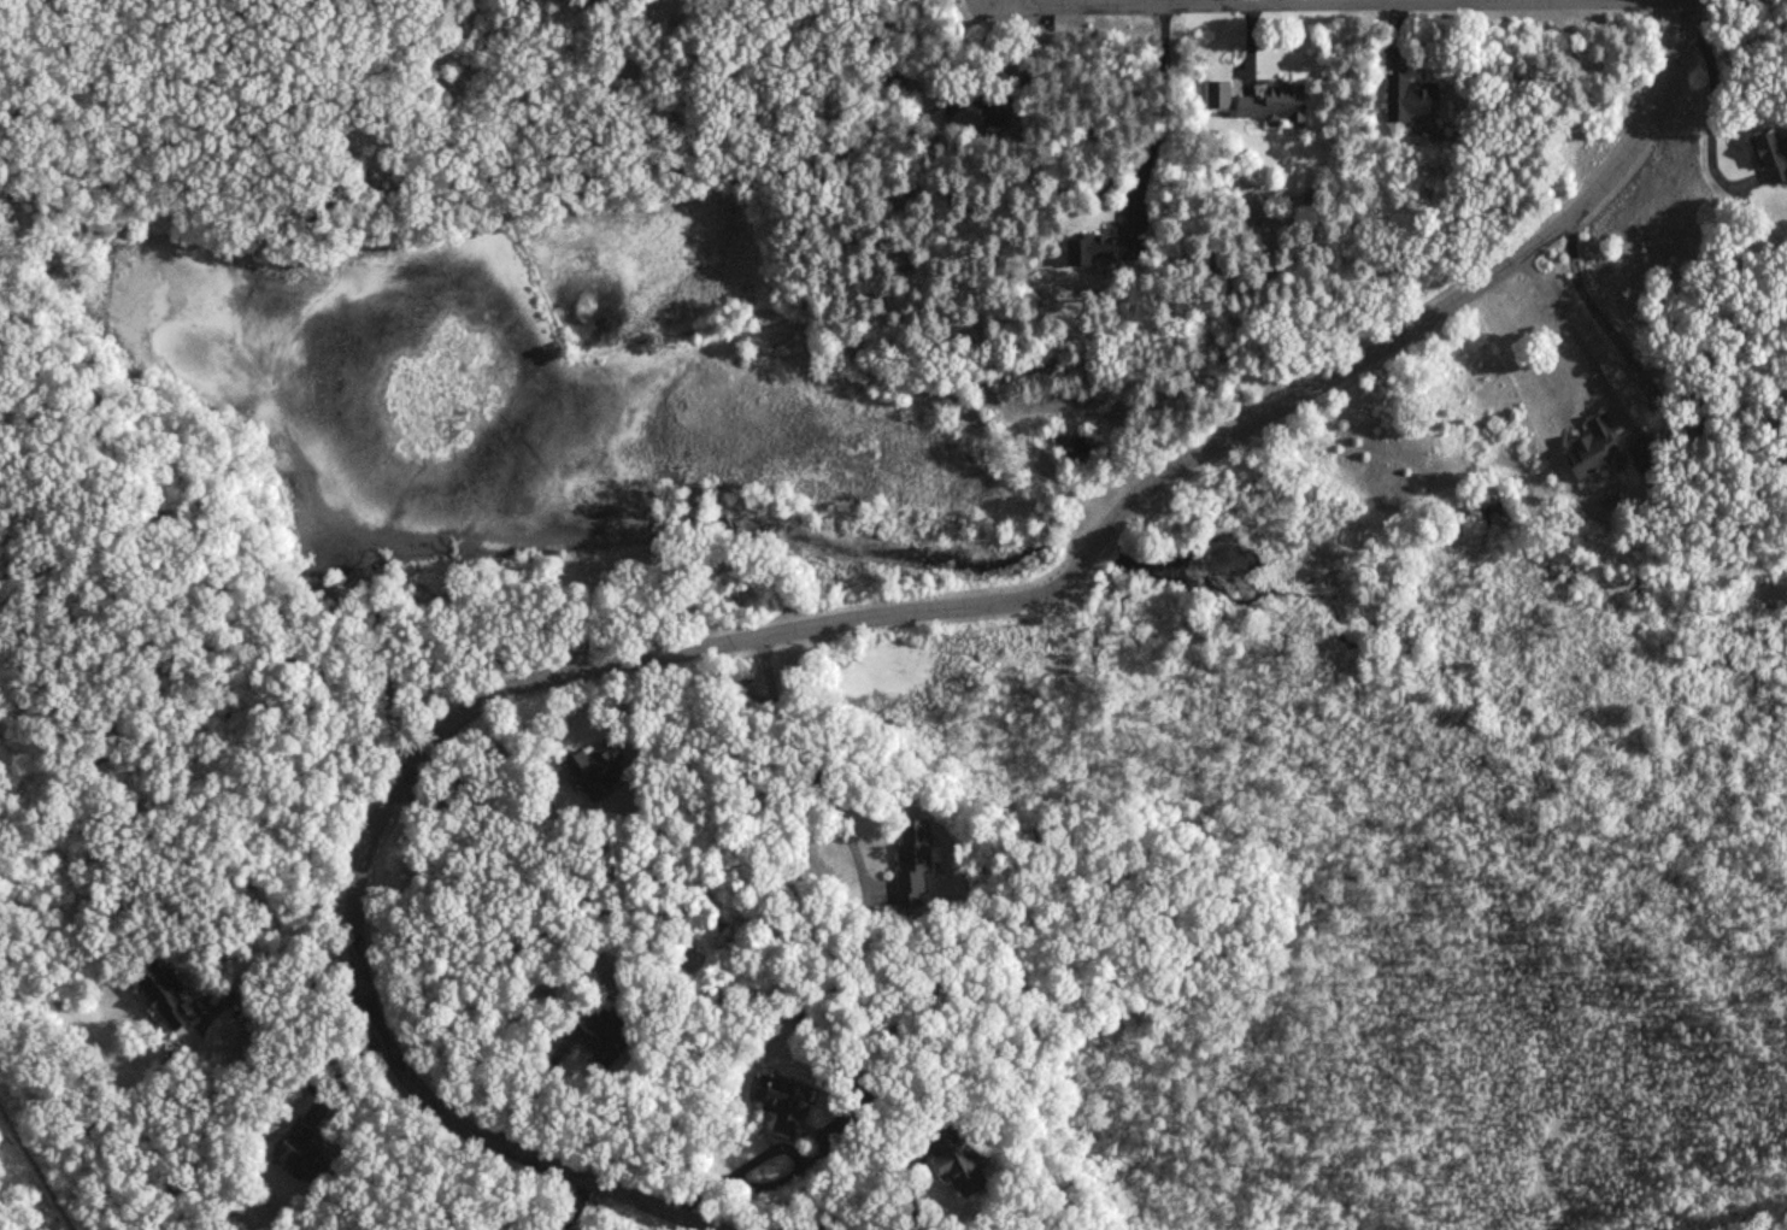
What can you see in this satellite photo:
road: (1163, 2)
road: (1377, 2)
road: (1452, 2)
road: (1356, 6)
building: (1407, 100)
building: (1270, 105)
road: (1163, 110)
building: (971, 112)
road: (1706, 112)
building: (1770, 157)
building: (1097, 249)
road: (1569, 325)
road: (1640, 372)
building: (1592, 449)
road: (825, 625)
road: (812, 764)
building: (594, 770)
building: (911, 857)
road: (290, 982)
building: (160, 1000)
building: (607, 1035)
road: (346, 1070)
road: (535, 1084)
building: (786, 1106)
road: (777, 1144)
building: (298, 1155)
building: (958, 1165)
road: (906, 1185)
road: (574, 1205)

